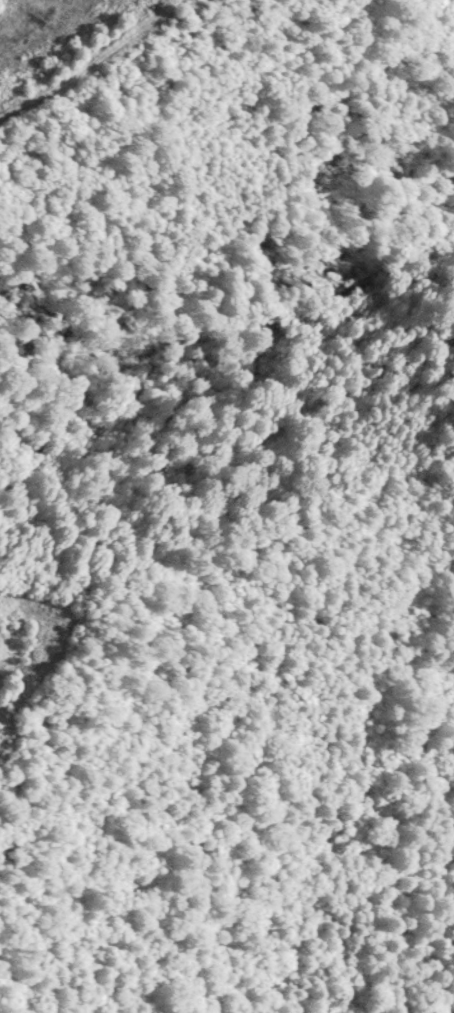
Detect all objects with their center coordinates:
quarry: (59, 33)
quarry: (12, 624)

